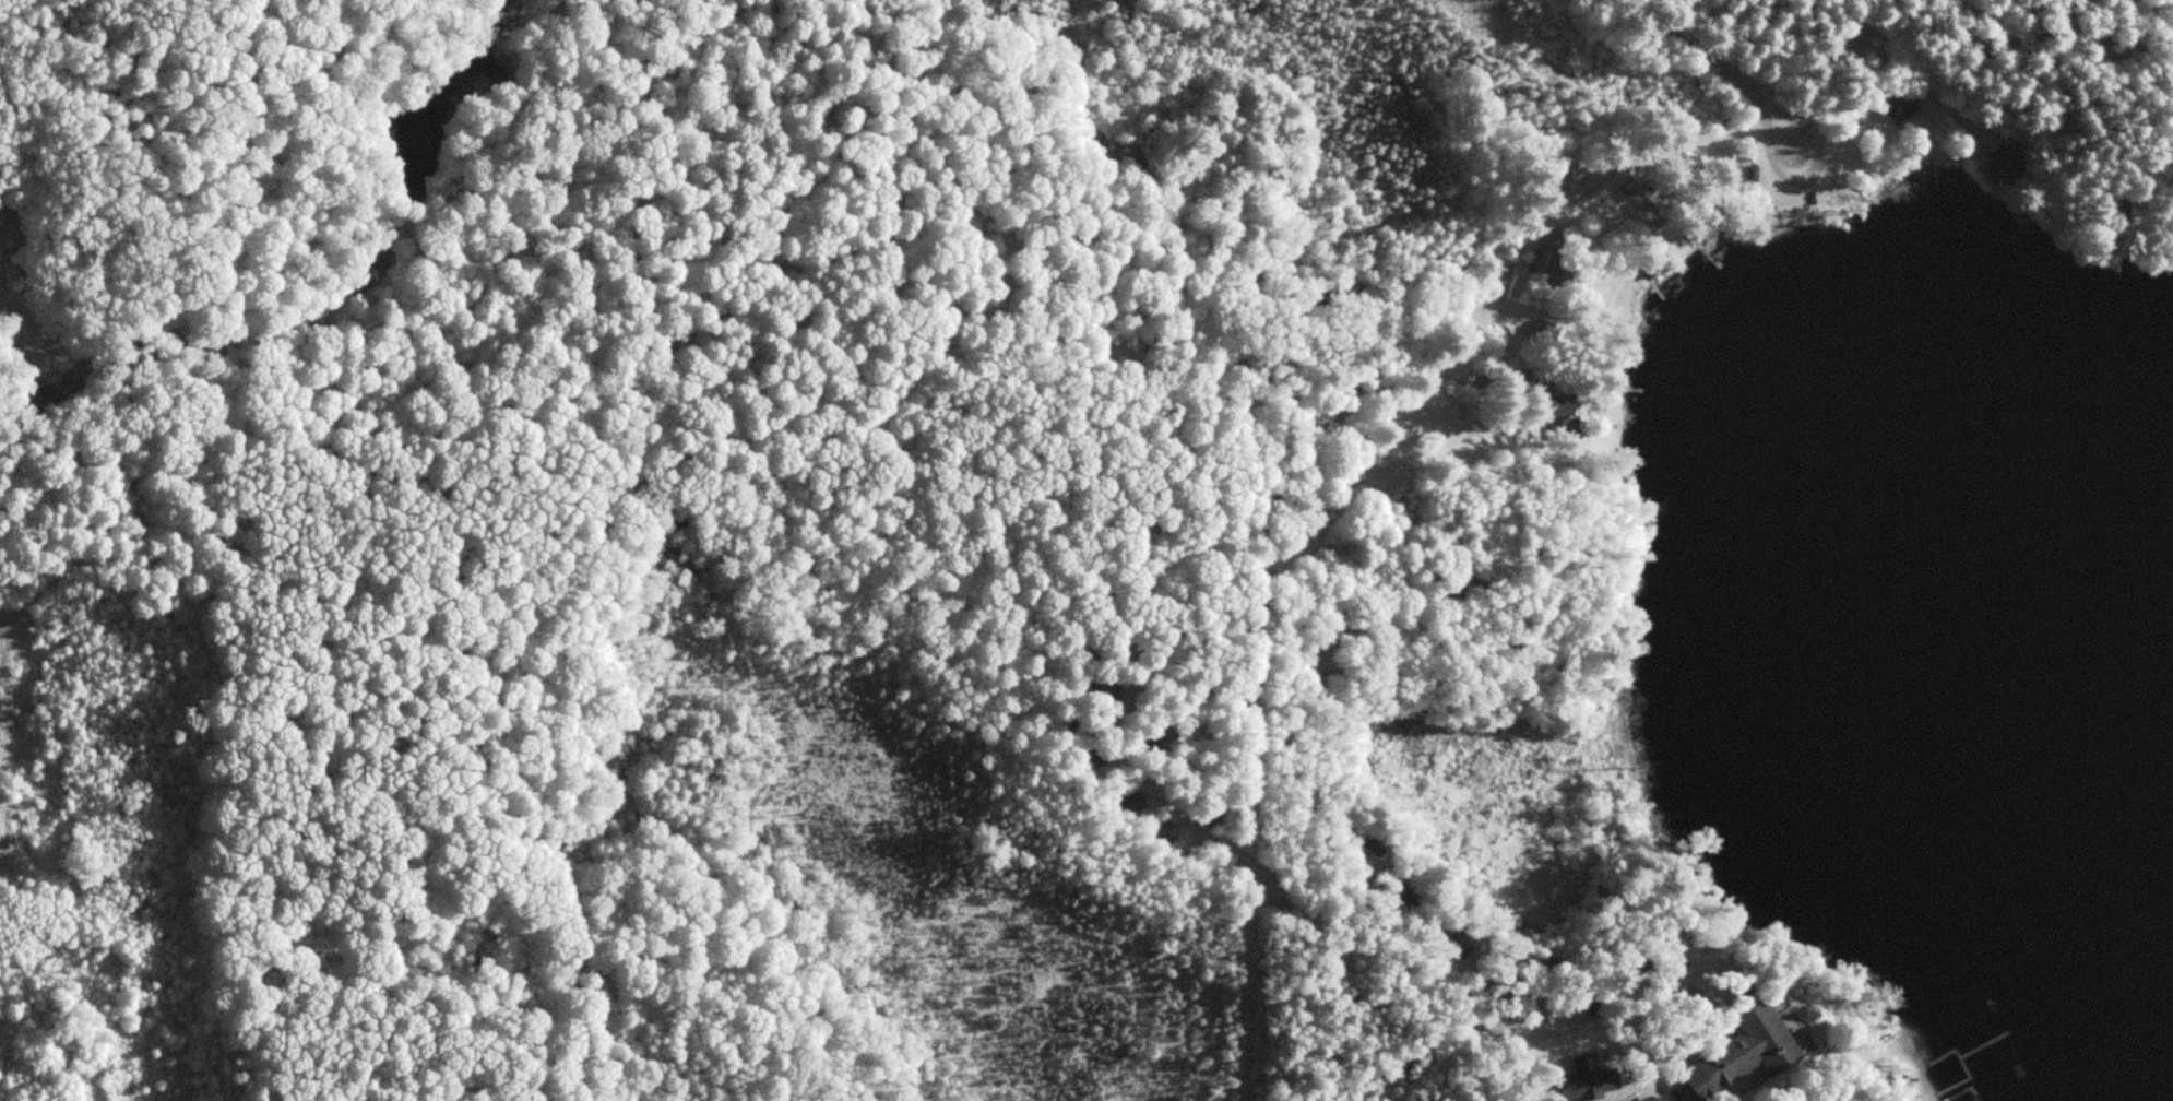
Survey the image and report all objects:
road: (1866, 42)
road: (1712, 51)
building: (1907, 106)
building: (2007, 159)
building: (1753, 171)
road: (1818, 183)
road: (1842, 190)
road: (1580, 192)
building: (1560, 270)
building: (1549, 391)
building: (1099, 753)
building: (1137, 800)
building: (1168, 829)
building: (1744, 1054)

